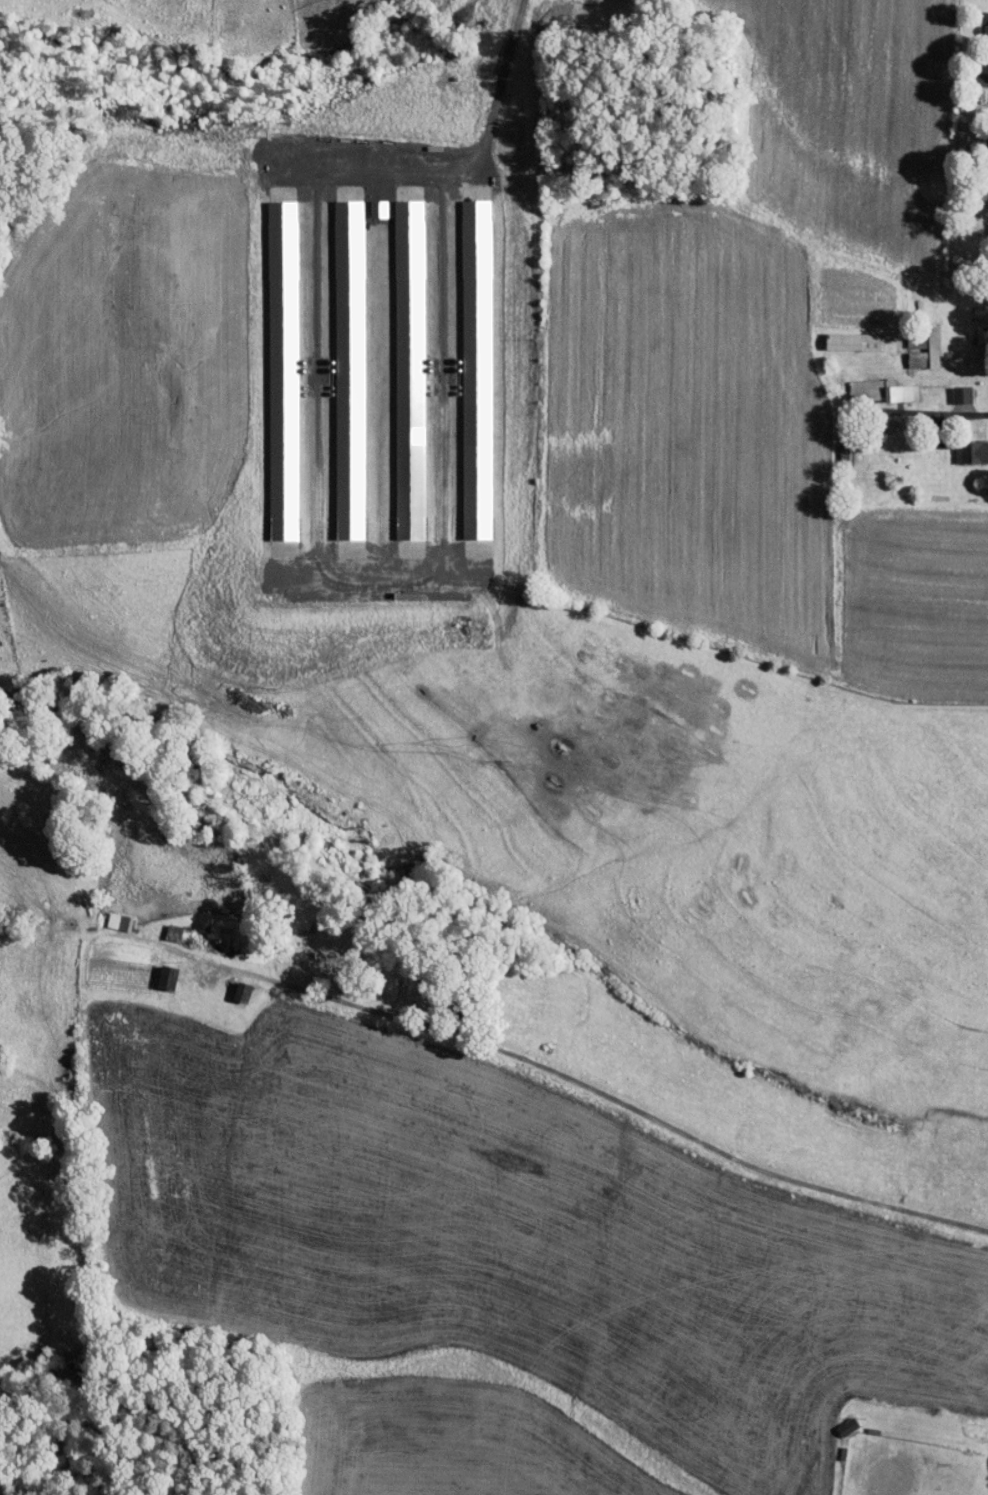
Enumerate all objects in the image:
building: (981, 26)
road: (461, 164)
building: (367, 203)
building: (985, 216)
building: (842, 336)
building: (922, 345)
building: (906, 353)
building: (399, 364)
building: (465, 364)
building: (272, 365)
building: (338, 365)
building: (869, 384)
building: (951, 389)
building: (964, 447)
road: (621, 469)
building: (113, 916)
building: (162, 926)
building: (156, 970)
building: (231, 985)
road: (621, 1099)
building: (837, 1420)
park: (889, 1455)

